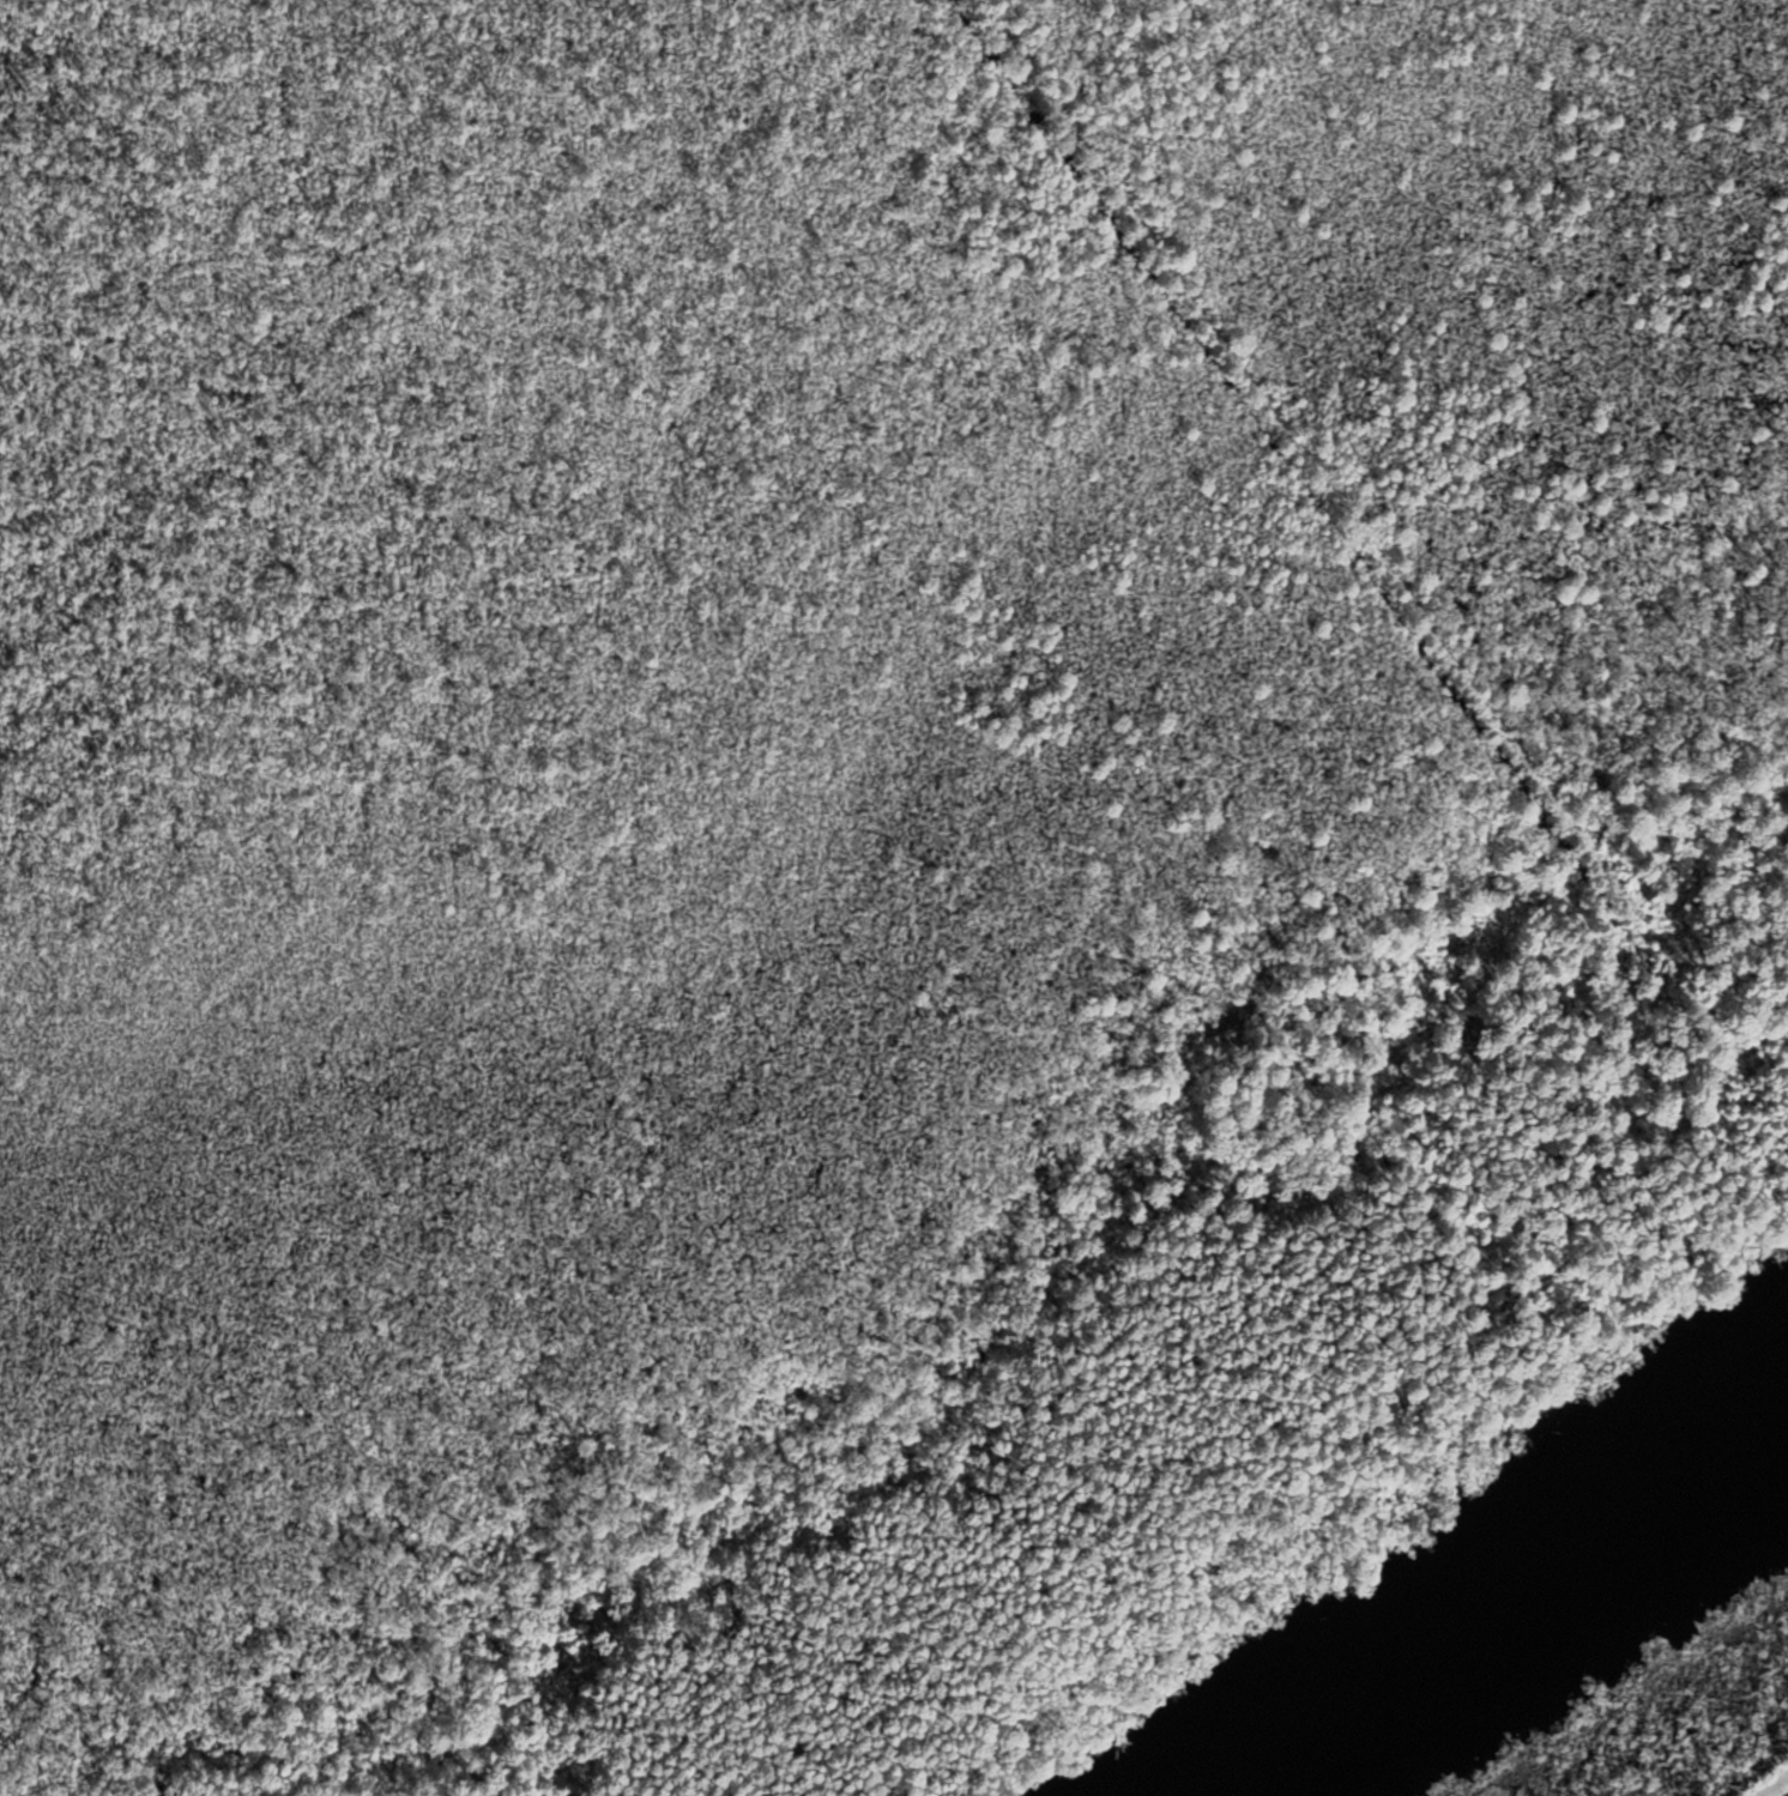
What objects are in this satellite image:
road: (1771, 1783)

